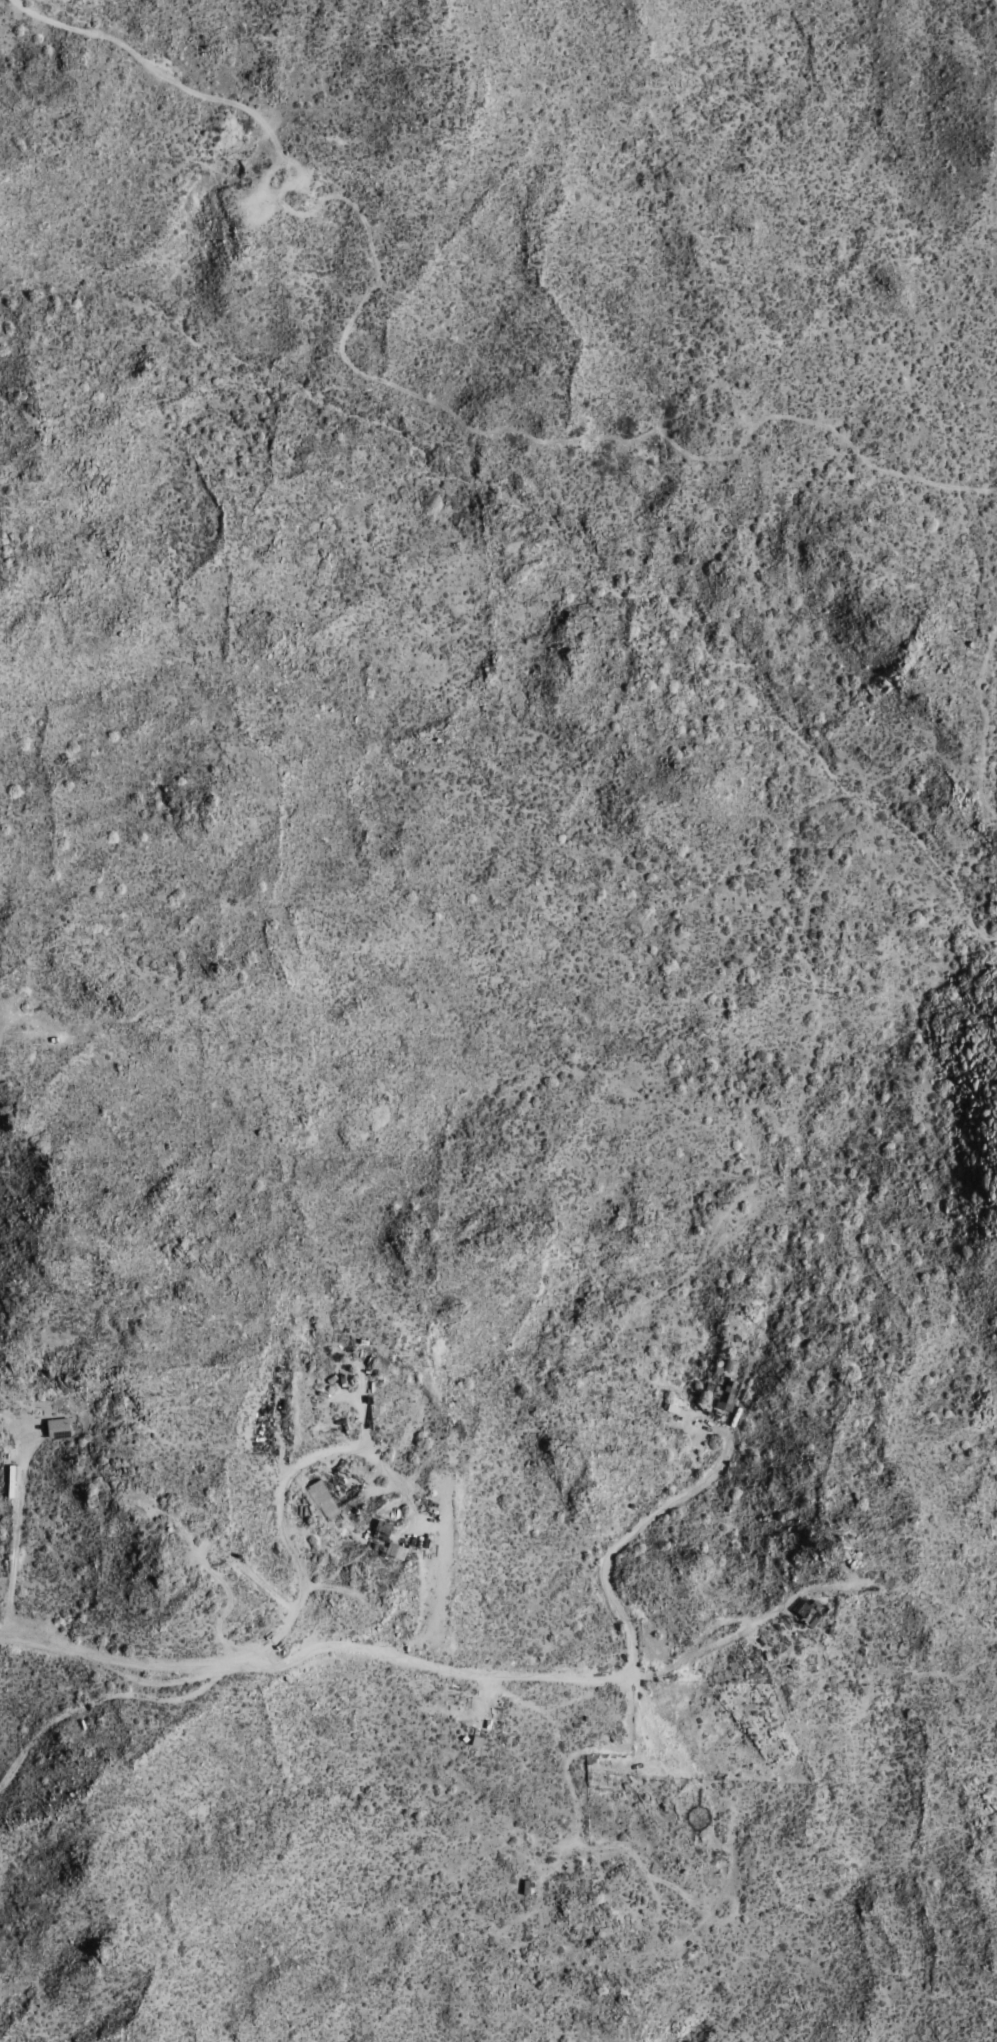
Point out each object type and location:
road: (156, 69)
road: (279, 198)
building: (325, 1499)

